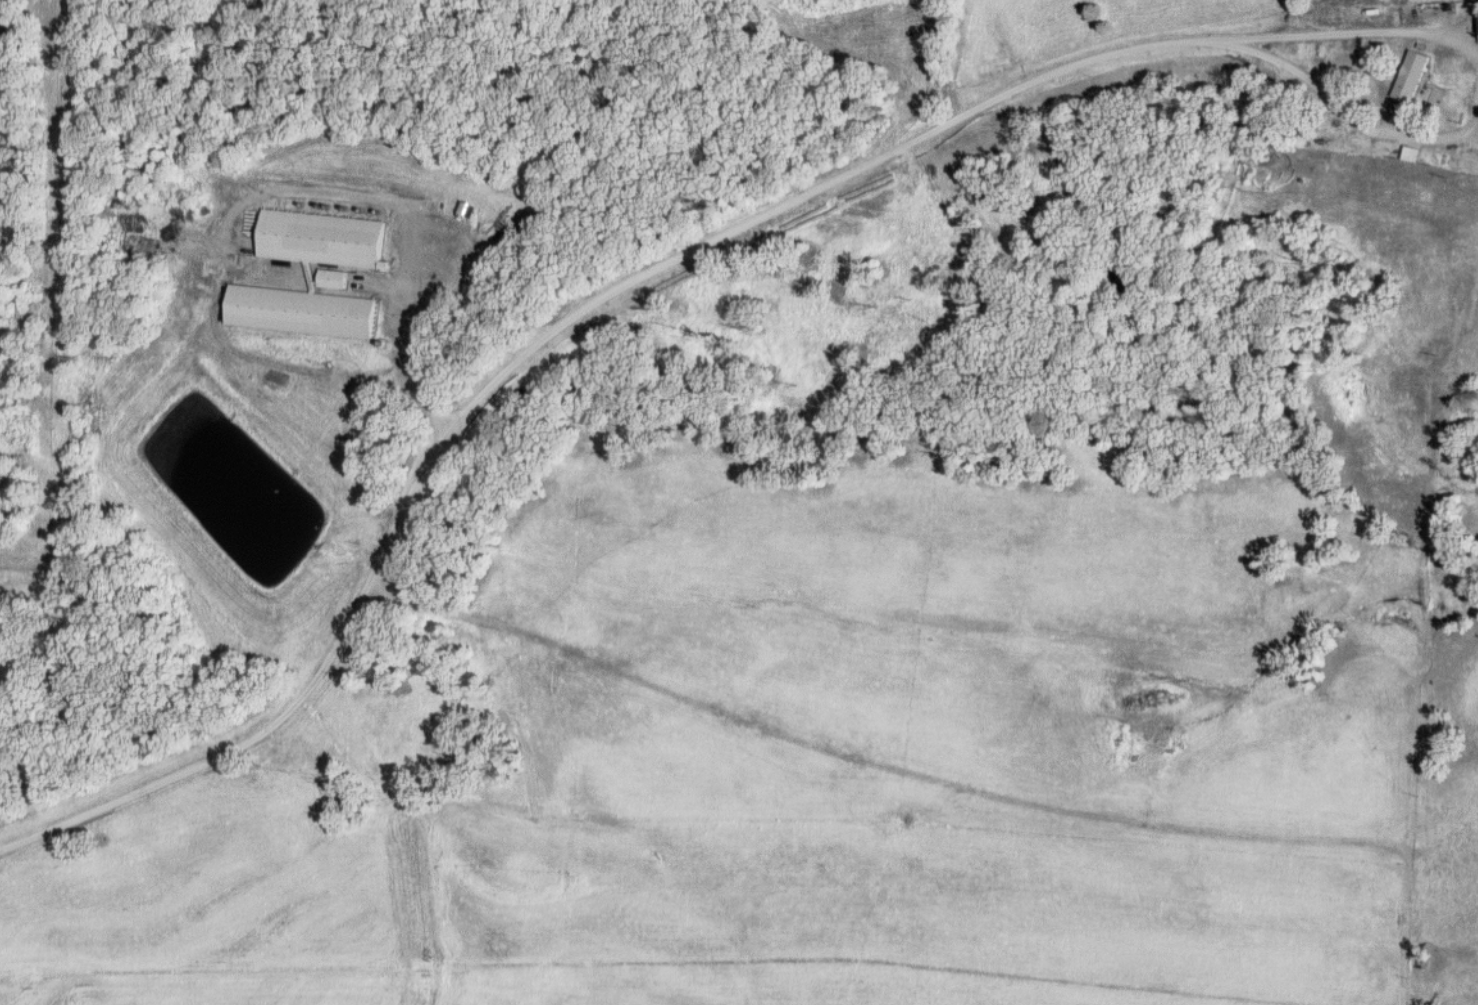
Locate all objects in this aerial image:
building: (1376, 6)
building: (1327, 12)
road: (1359, 30)
building: (1410, 77)
road: (1360, 124)
building: (322, 239)
building: (333, 280)
building: (300, 312)
road: (528, 342)

